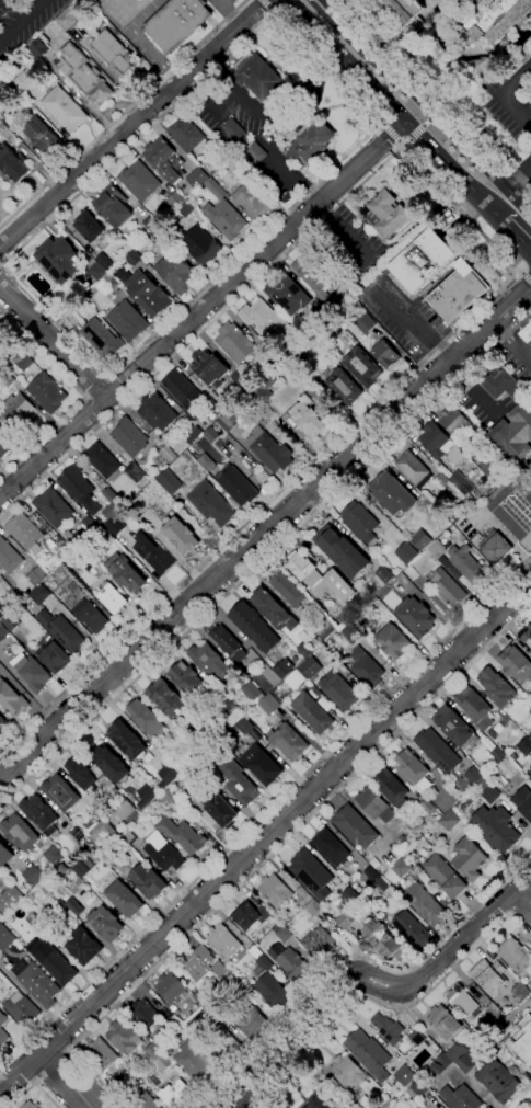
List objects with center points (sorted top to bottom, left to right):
road: (267, 4)
road: (224, 5)
building: (405, 9)
road: (273, 10)
road: (148, 15)
building: (68, 16)
road: (234, 16)
building: (493, 16)
road: (342, 20)
road: (21, 21)
parking lot: (23, 22)
building: (177, 23)
building: (38, 45)
building: (114, 53)
road: (154, 56)
building: (84, 75)
building: (259, 78)
building: (24, 82)
road: (504, 92)
parking lot: (510, 94)
road: (435, 99)
building: (65, 108)
road: (399, 108)
road: (440, 108)
road: (123, 113)
road: (434, 115)
road: (426, 123)
road: (131, 125)
road: (446, 127)
building: (235, 130)
road: (416, 132)
road: (391, 133)
building: (186, 134)
building: (43, 135)
building: (8, 136)
road: (261, 137)
building: (311, 140)
building: (256, 152)
building: (165, 159)
building: (13, 164)
road: (518, 176)
building: (197, 179)
building: (140, 181)
road: (309, 189)
building: (173, 202)
building: (252, 202)
building: (113, 206)
building: (186, 208)
building: (223, 213)
building: (388, 214)
building: (89, 227)
road: (517, 235)
building: (203, 248)
building: (134, 258)
building: (60, 259)
building: (424, 260)
building: (104, 261)
road: (1, 267)
building: (97, 271)
building: (312, 272)
building: (177, 273)
road: (526, 275)
building: (107, 285)
building: (458, 292)
building: (149, 294)
building: (288, 295)
road: (203, 308)
parking lot: (404, 318)
building: (264, 319)
building: (128, 321)
building: (363, 322)
building: (1, 327)
road: (205, 327)
building: (526, 332)
building: (1, 335)
building: (102, 339)
road: (54, 343)
building: (235, 343)
road: (512, 343)
road: (436, 350)
building: (385, 354)
building: (299, 356)
building: (24, 362)
building: (362, 366)
building: (209, 367)
road: (108, 374)
building: (8, 379)
building: (503, 384)
building: (344, 386)
building: (181, 388)
building: (47, 392)
road: (81, 393)
building: (16, 409)
building: (157, 412)
building: (308, 418)
building: (228, 421)
building: (453, 421)
building: (192, 433)
building: (513, 434)
building: (211, 435)
building: (129, 437)
building: (438, 442)
building: (5, 443)
building: (269, 449)
road: (323, 453)
building: (168, 454)
building: (102, 460)
building: (207, 462)
building: (492, 465)
building: (413, 468)
building: (135, 471)
building: (442, 480)
building: (170, 481)
building: (461, 482)
building: (236, 486)
building: (80, 489)
building: (392, 494)
building: (111, 496)
building: (211, 504)
building: (54, 507)
building: (513, 509)
building: (359, 522)
building: (88, 523)
building: (26, 534)
road: (265, 534)
building: (69, 535)
building: (181, 535)
building: (420, 539)
building: (51, 542)
building: (495, 547)
building: (436, 549)
building: (64, 551)
building: (343, 552)
building: (405, 552)
building: (154, 555)
building: (10, 557)
road: (267, 558)
building: (104, 559)
building: (466, 563)
building: (127, 573)
building: (383, 573)
building: (37, 575)
building: (321, 576)
building: (70, 584)
building: (0, 585)
building: (286, 587)
building: (447, 587)
building: (11, 597)
building: (112, 597)
building: (272, 607)
building: (2, 609)
building: (90, 616)
building: (415, 617)
building: (11, 621)
building: (254, 627)
building: (319, 627)
building: (61, 631)
building: (3, 632)
building: (351, 633)
building: (526, 640)
building: (393, 642)
building: (229, 643)
building: (55, 656)
building: (209, 660)
building: (516, 664)
building: (282, 667)
building: (311, 669)
building: (367, 669)
building: (32, 672)
building: (188, 679)
building: (293, 679)
building: (497, 688)
building: (339, 692)
building: (12, 697)
building: (261, 697)
building: (170, 700)
building: (474, 707)
building: (313, 712)
building: (530, 712)
building: (147, 718)
building: (2, 720)
building: (451, 726)
building: (207, 734)
building: (530, 738)
building: (128, 740)
building: (289, 741)
building: (524, 746)
building: (436, 749)
building: (497, 754)
building: (259, 756)
building: (185, 761)
building: (206, 763)
building: (113, 764)
building: (414, 769)
building: (81, 773)
building: (171, 774)
building: (529, 774)
building: (517, 776)
building: (466, 780)
building: (241, 786)
building: (393, 788)
building: (449, 791)
building: (487, 791)
building: (62, 792)
building: (147, 795)
building: (166, 796)
building: (120, 797)
building: (523, 801)
building: (376, 804)
building: (427, 807)
building: (220, 808)
building: (129, 810)
road: (265, 812)
building: (41, 814)
building: (450, 820)
building: (101, 824)
building: (355, 826)
building: (496, 827)
building: (20, 832)
building: (78, 835)
building: (183, 835)
road: (265, 836)
building: (129, 837)
building: (405, 841)
building: (331, 847)
building: (163, 852)
building: (51, 854)
building: (5, 855)
road: (270, 855)
building: (39, 857)
building: (66, 859)
building: (113, 859)
building: (470, 859)
building: (310, 866)
building: (83, 867)
building: (402, 867)
building: (60, 871)
building: (33, 873)
building: (372, 873)
building: (445, 876)
building: (149, 881)
building: (382, 884)
building: (276, 891)
building: (301, 891)
building: (82, 893)
building: (354, 895)
building: (366, 898)
building: (124, 899)
building: (9, 900)
building: (425, 904)
road: (521, 905)
building: (61, 906)
building: (314, 909)
road: (521, 911)
building: (250, 915)
building: (346, 919)
road: (457, 921)
building: (106, 923)
building: (266, 925)
building: (39, 926)
building: (413, 930)
building: (282, 933)
building: (5, 937)
building: (381, 938)
building: (316, 939)
building: (224, 941)
building: (83, 946)
building: (253, 949)
building: (516, 955)
building: (289, 961)
building: (204, 964)
building: (263, 964)
building: (57, 966)
building: (487, 972)
road: (369, 980)
building: (37, 983)
building: (236, 985)
building: (530, 985)
building: (171, 987)
building: (519, 987)
building: (273, 990)
building: (201, 997)
building: (218, 1000)
building: (464, 1001)
road: (383, 1004)
building: (22, 1008)
building: (145, 1013)
building: (493, 1013)
building: (215, 1014)
building: (175, 1021)
building: (188, 1021)
road: (285, 1021)
building: (445, 1021)
building: (253, 1023)
building: (389, 1028)
building: (199, 1029)
building: (2, 1031)
building: (126, 1037)
building: (418, 1038)
building: (519, 1046)
building: (366, 1048)
building: (228, 1049)
building: (0, 1051)
building: (102, 1054)
building: (159, 1058)
building: (457, 1059)
building: (197, 1063)
road: (50, 1066)
building: (348, 1070)
building: (126, 1075)
building: (403, 1075)
road: (66, 1081)
building: (498, 1081)
road: (32, 1084)
building: (396, 1084)
building: (415, 1084)
building: (176, 1094)
building: (461, 1097)
building: (396, 1098)
building: (145, 1101)
building: (316, 1101)
building: (366, 1103)
building: (32, 1105)
road: (527, 1105)
building: (489, 1107)

